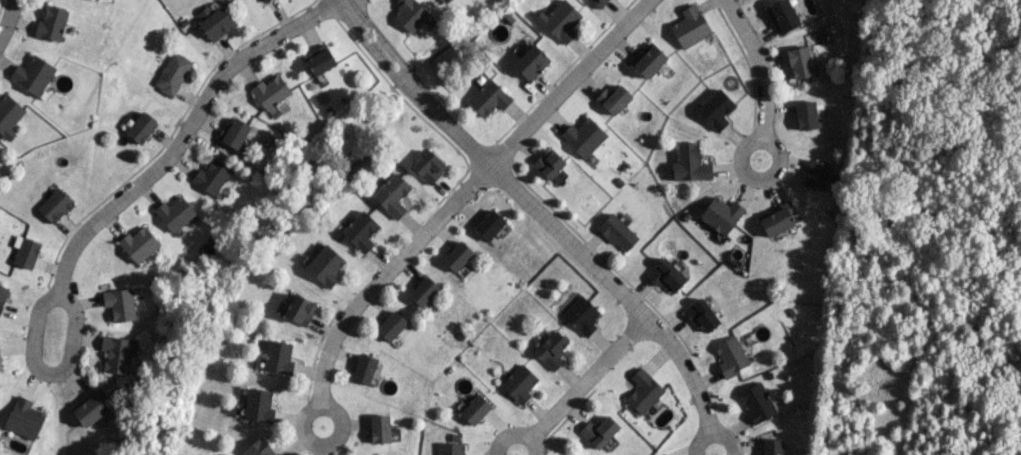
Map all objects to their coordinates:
building: (262, 0)
building: (440, 0)
building: (598, 3)
building: (409, 14)
building: (782, 15)
road: (6, 18)
building: (560, 21)
building: (214, 22)
building: (51, 24)
building: (690, 27)
building: (320, 60)
building: (648, 60)
building: (531, 62)
building: (800, 62)
road: (758, 66)
building: (172, 73)
building: (33, 74)
road: (568, 84)
building: (270, 92)
building: (488, 98)
building: (613, 99)
building: (716, 109)
building: (9, 115)
building: (806, 115)
building: (140, 128)
road: (186, 131)
building: (233, 133)
building: (583, 137)
building: (548, 164)
building: (690, 164)
building: (429, 167)
building: (816, 175)
building: (211, 177)
road: (761, 179)
building: (392, 195)
building: (54, 205)
road: (532, 210)
building: (174, 213)
building: (721, 215)
building: (777, 219)
building: (488, 225)
building: (360, 231)
building: (617, 232)
building: (139, 244)
building: (25, 252)
building: (457, 256)
building: (325, 266)
building: (666, 276)
road: (384, 277)
building: (423, 292)
building: (2, 296)
building: (120, 304)
building: (299, 310)
building: (581, 315)
building: (702, 316)
building: (391, 326)
building: (552, 350)
building: (117, 354)
building: (730, 357)
building: (278, 358)
building: (0, 365)
building: (364, 369)
road: (46, 374)
road: (587, 377)
building: (519, 384)
building: (643, 391)
building: (757, 402)
building: (258, 404)
building: (90, 407)
building: (475, 409)
building: (24, 418)
building: (379, 429)
road: (713, 429)
building: (599, 431)
road: (515, 432)
road: (328, 442)
building: (451, 446)
building: (772, 446)
building: (259, 448)

